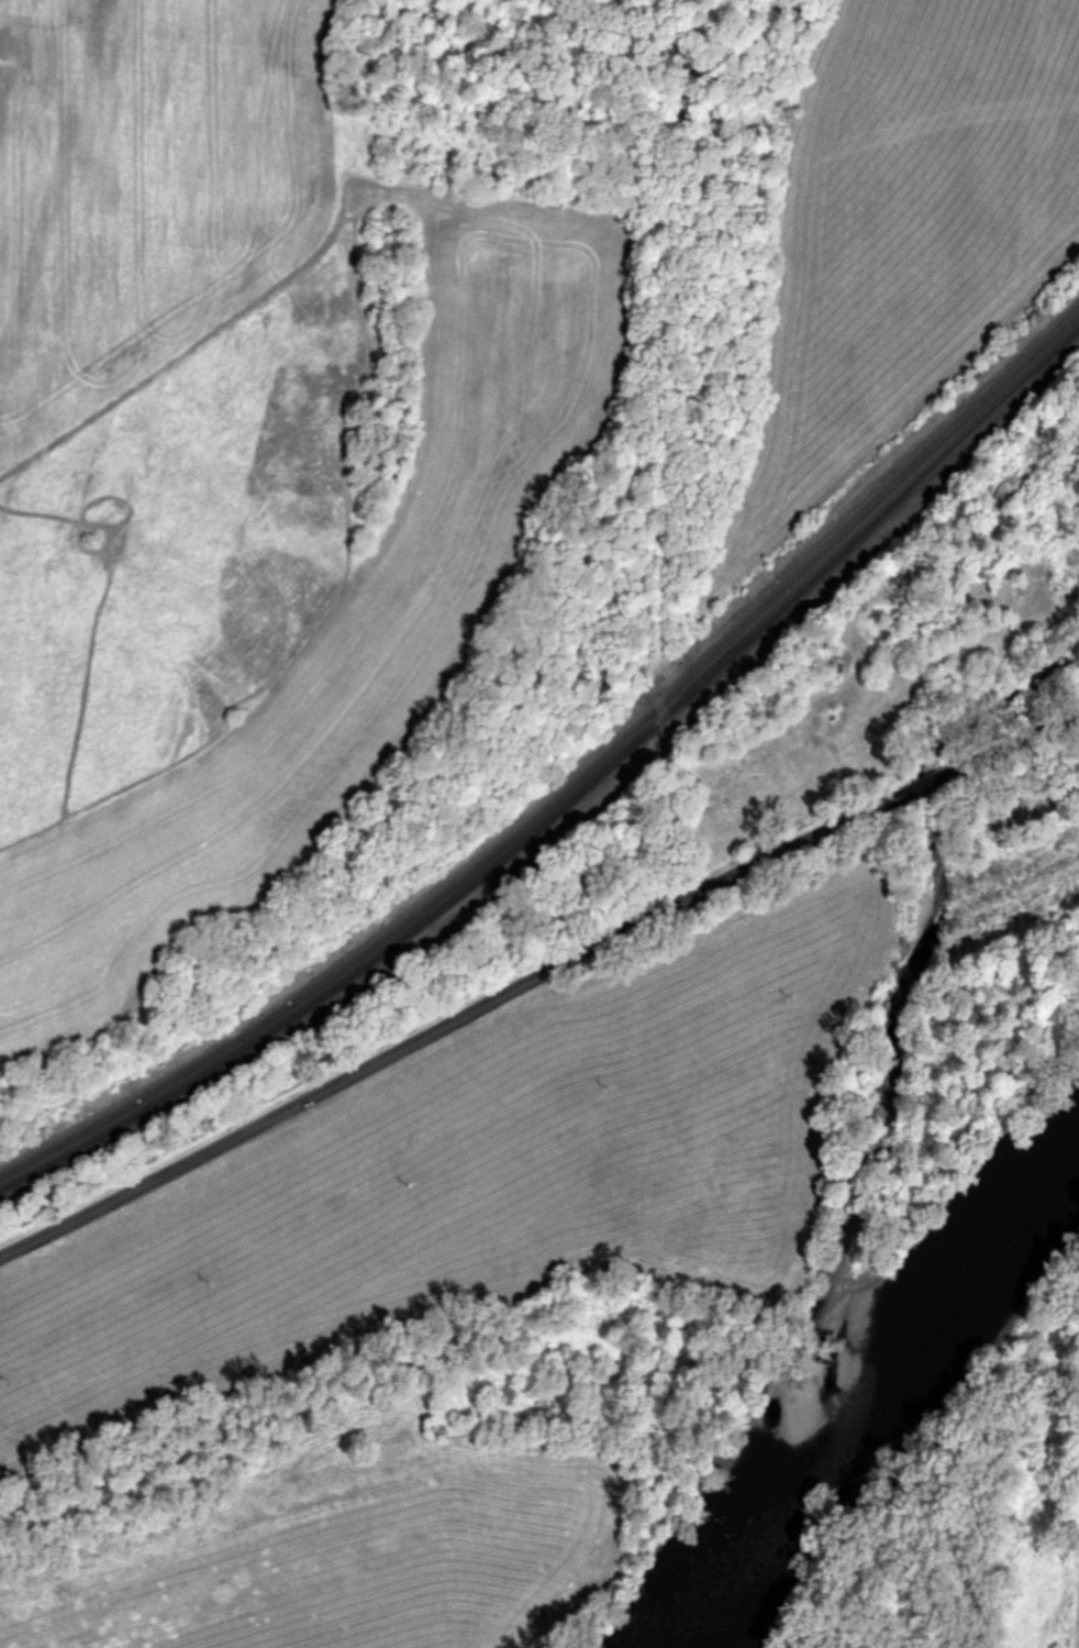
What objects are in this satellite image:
crop: (904, 221)
road: (1035, 733)
road: (952, 773)
railway: (570, 798)
road: (453, 1021)
crop: (482, 1181)
river: (877, 1398)
crop: (356, 1560)
crop: (1071, 1635)

